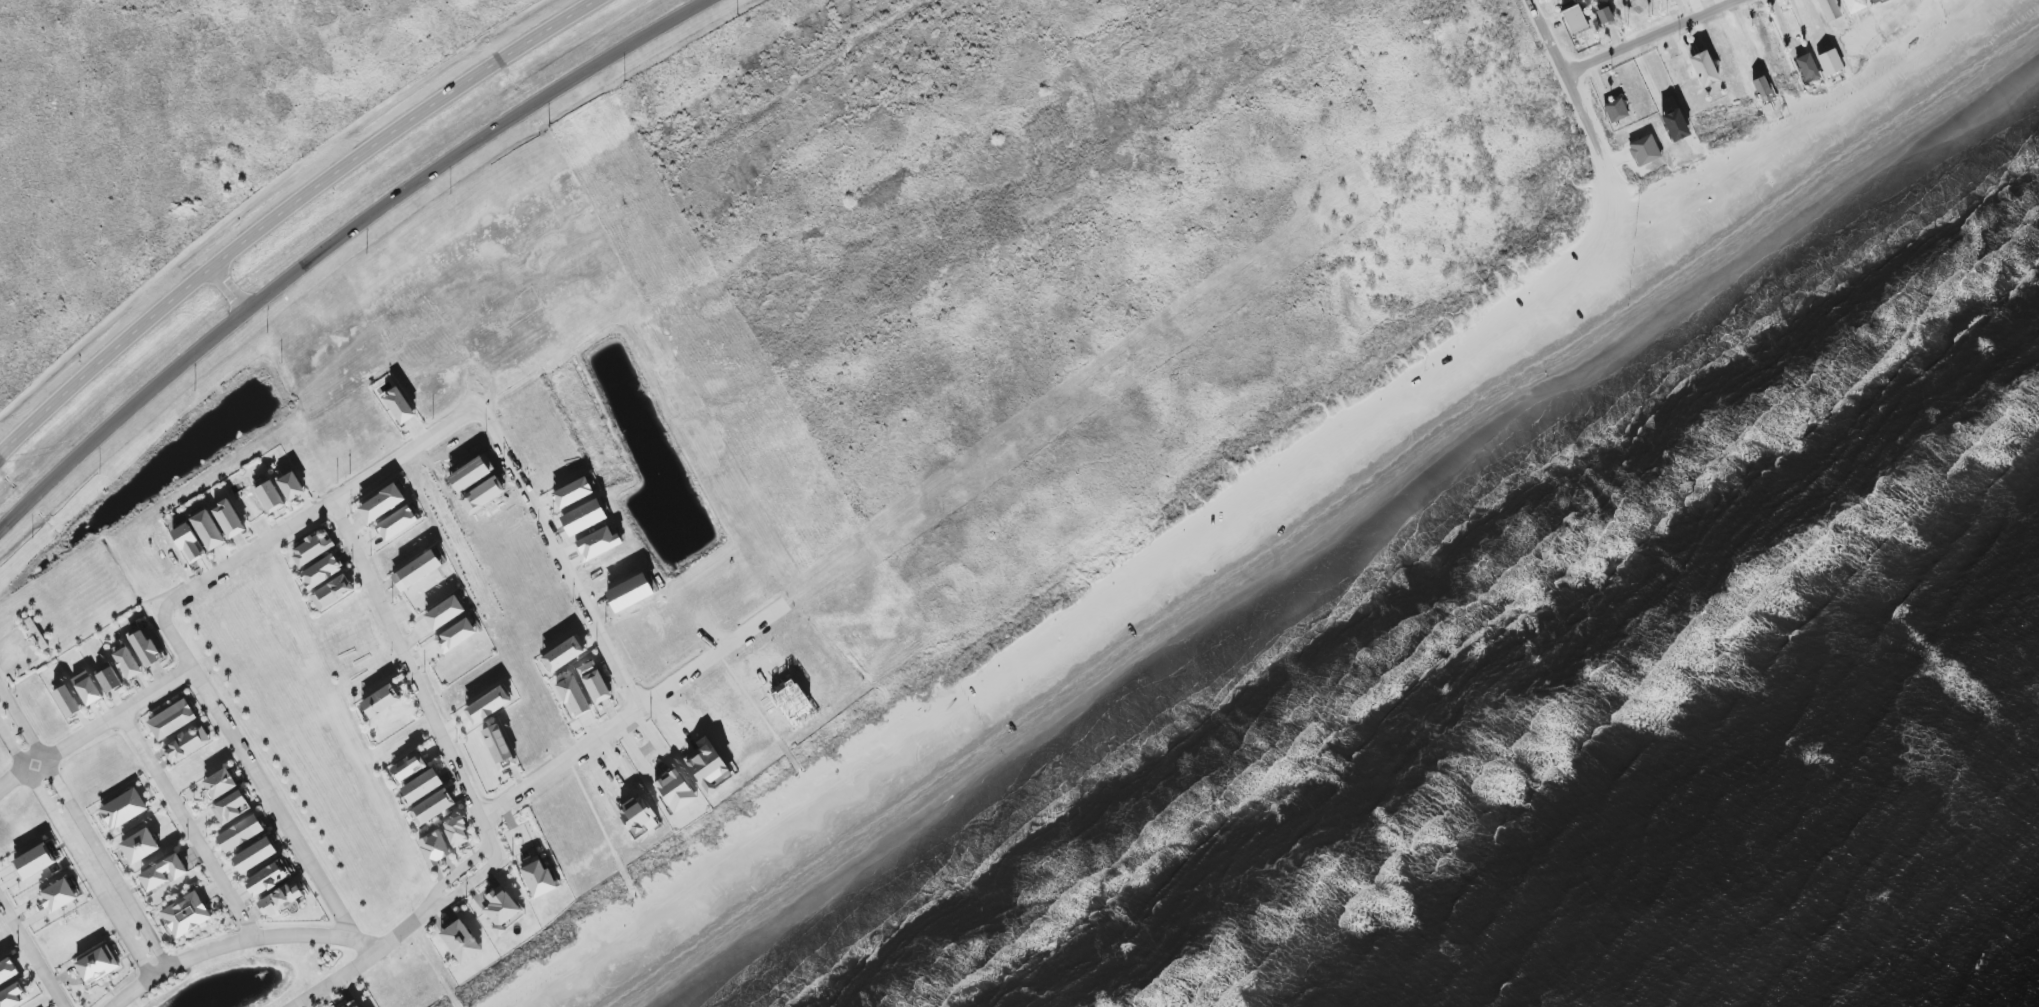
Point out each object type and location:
building: (1872, 0)
building: (1828, 10)
building: (1604, 16)
building: (1574, 19)
road: (1656, 36)
building: (1830, 62)
building: (1807, 68)
building: (1704, 69)
building: (1762, 87)
road: (1578, 89)
building: (1615, 111)
building: (1675, 126)
road: (1705, 145)
building: (1644, 151)
road: (285, 211)
road: (336, 241)
road: (232, 290)
building: (399, 406)
building: (291, 487)
building: (269, 495)
building: (382, 504)
building: (229, 519)
building: (397, 523)
building: (207, 529)
building: (187, 542)
building: (312, 548)
road: (247, 555)
road: (564, 564)
building: (322, 571)
building: (416, 571)
building: (332, 593)
building: (444, 613)
building: (455, 636)
building: (144, 648)
building: (563, 655)
road: (710, 658)
building: (127, 663)
road: (414, 675)
building: (108, 678)
building: (594, 682)
building: (87, 688)
building: (573, 696)
building: (67, 702)
building: (381, 702)
building: (488, 705)
building: (172, 720)
road: (96, 730)
building: (186, 743)
building: (499, 747)
building: (705, 761)
building: (409, 767)
road: (257, 777)
building: (219, 784)
building: (422, 786)
building: (676, 791)
building: (433, 807)
building: (229, 808)
building: (123, 809)
road: (85, 827)
road: (190, 827)
building: (457, 832)
building: (240, 834)
building: (140, 846)
building: (434, 848)
road: (75, 854)
building: (255, 855)
building: (34, 862)
road: (459, 872)
building: (163, 873)
building: (537, 877)
building: (265, 880)
road: (471, 880)
building: (57, 896)
building: (281, 901)
building: (502, 910)
building: (186, 915)
road: (239, 942)
building: (461, 942)
road: (33, 951)
road: (369, 958)
building: (97, 964)
building: (7, 971)
building: (12, 997)
building: (352, 1005)

